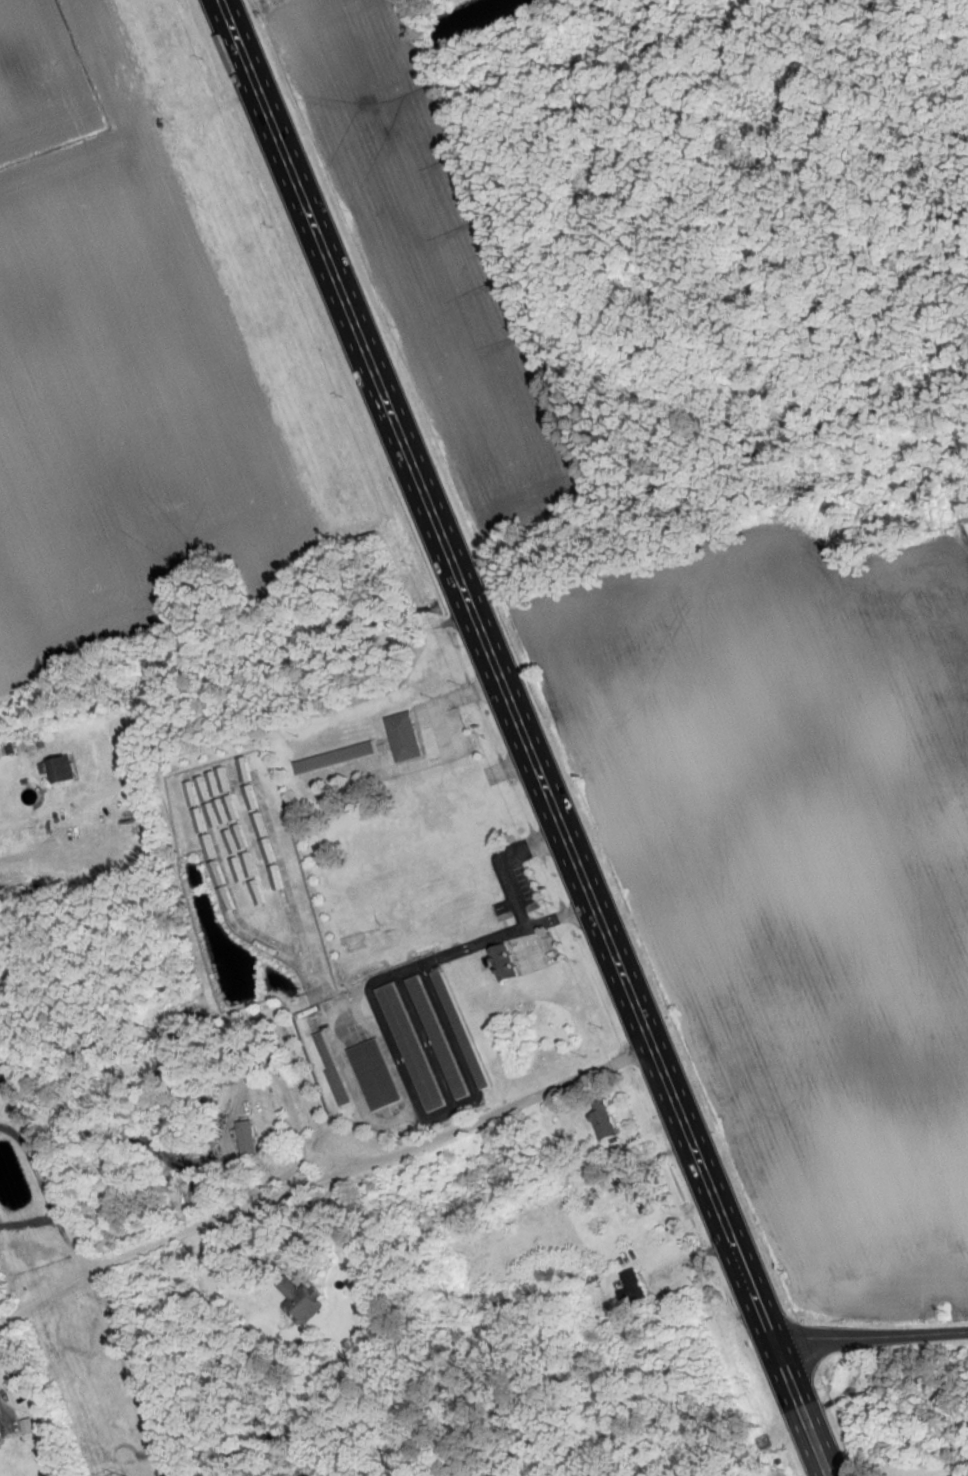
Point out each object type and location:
road: (443, 701)
building: (404, 737)
road: (524, 738)
building: (334, 758)
building: (64, 769)
building: (503, 963)
building: (438, 1038)
building: (411, 1048)
building: (332, 1069)
building: (374, 1075)
building: (603, 1120)
building: (248, 1139)
road: (386, 1162)
road: (53, 1284)
building: (635, 1284)
building: (301, 1298)
road: (872, 1337)
road: (1, 1420)

